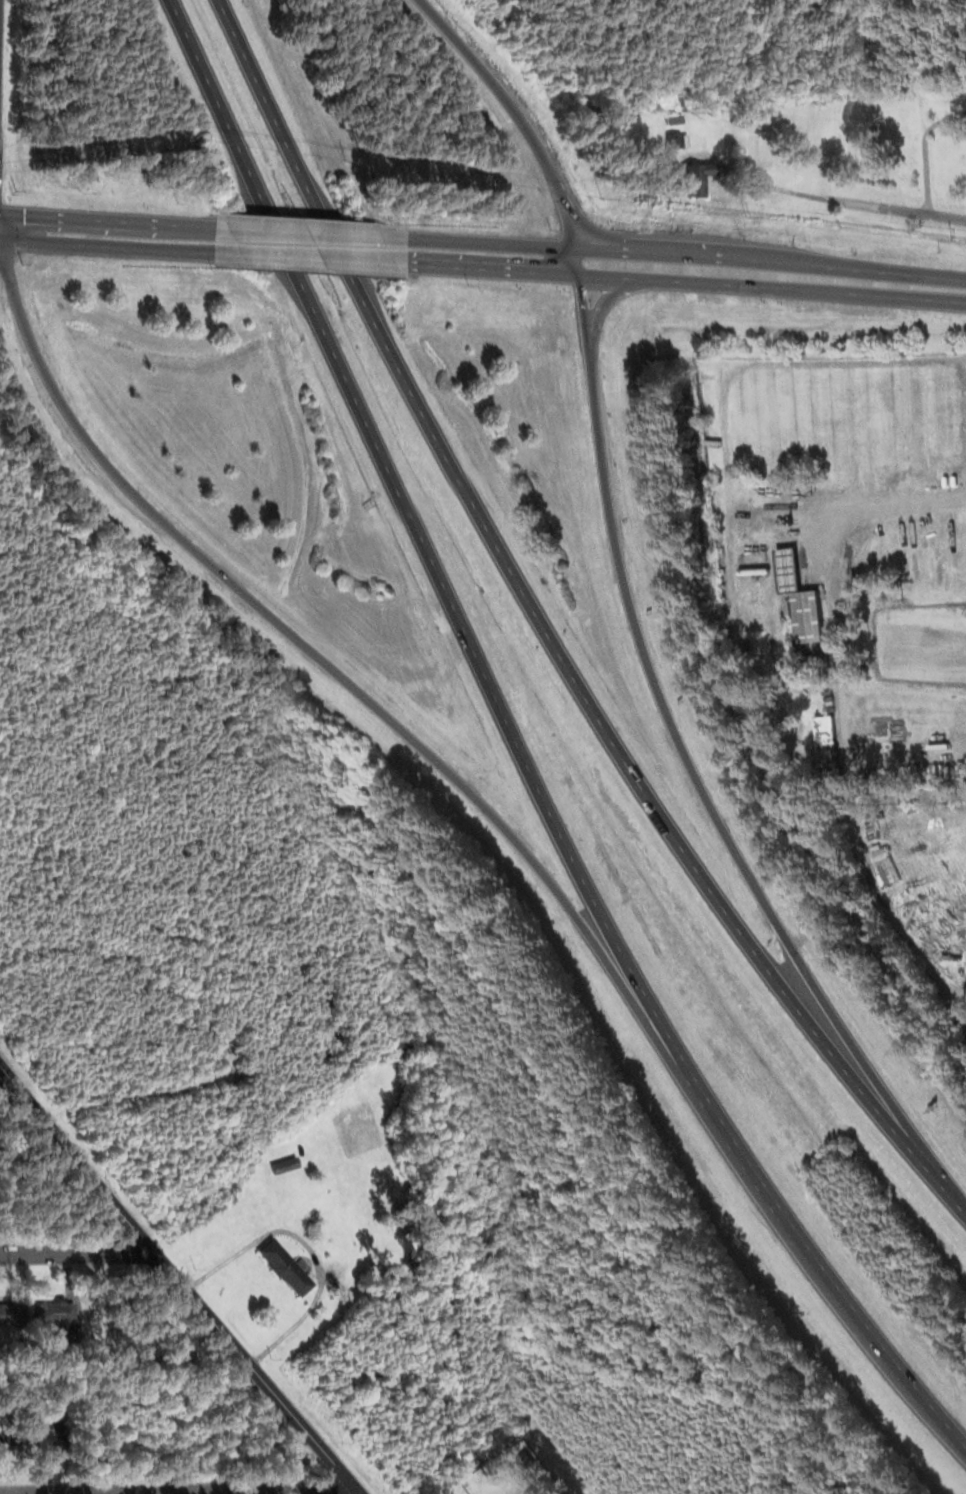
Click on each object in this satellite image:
road: (526, 124)
building: (678, 139)
building: (696, 180)
road: (772, 184)
road: (904, 209)
road: (107, 219)
road: (310, 232)
road: (107, 245)
road: (311, 258)
road: (685, 260)
road: (496, 269)
road: (776, 284)
road: (723, 442)
building: (864, 535)
building: (772, 537)
road: (426, 549)
building: (863, 554)
building: (879, 568)
building: (806, 601)
road: (535, 617)
road: (338, 678)
road: (682, 757)
building: (396, 881)
building: (405, 970)
building: (411, 1011)
road: (143, 1094)
building: (286, 1164)
road: (952, 1196)
road: (77, 1253)
building: (288, 1266)
road: (824, 1277)
road: (179, 1280)
building: (417, 1281)
building: (56, 1312)
building: (14, 1313)
building: (71, 1346)
building: (14, 1436)
building: (49, 1436)
road: (179, 1489)

